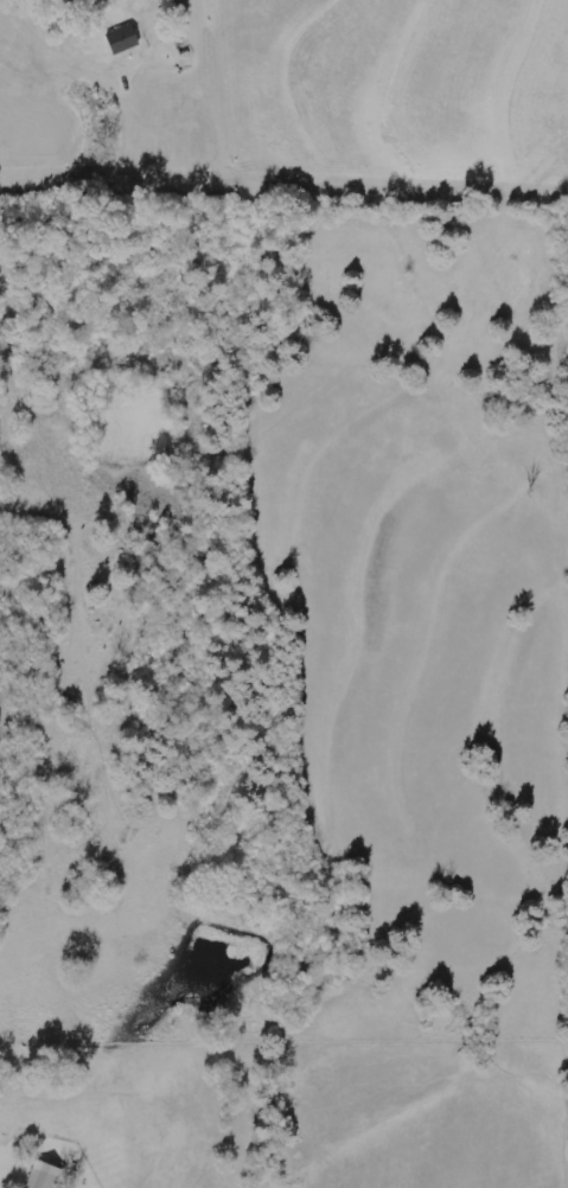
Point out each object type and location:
building: (123, 40)
building: (44, 1176)

